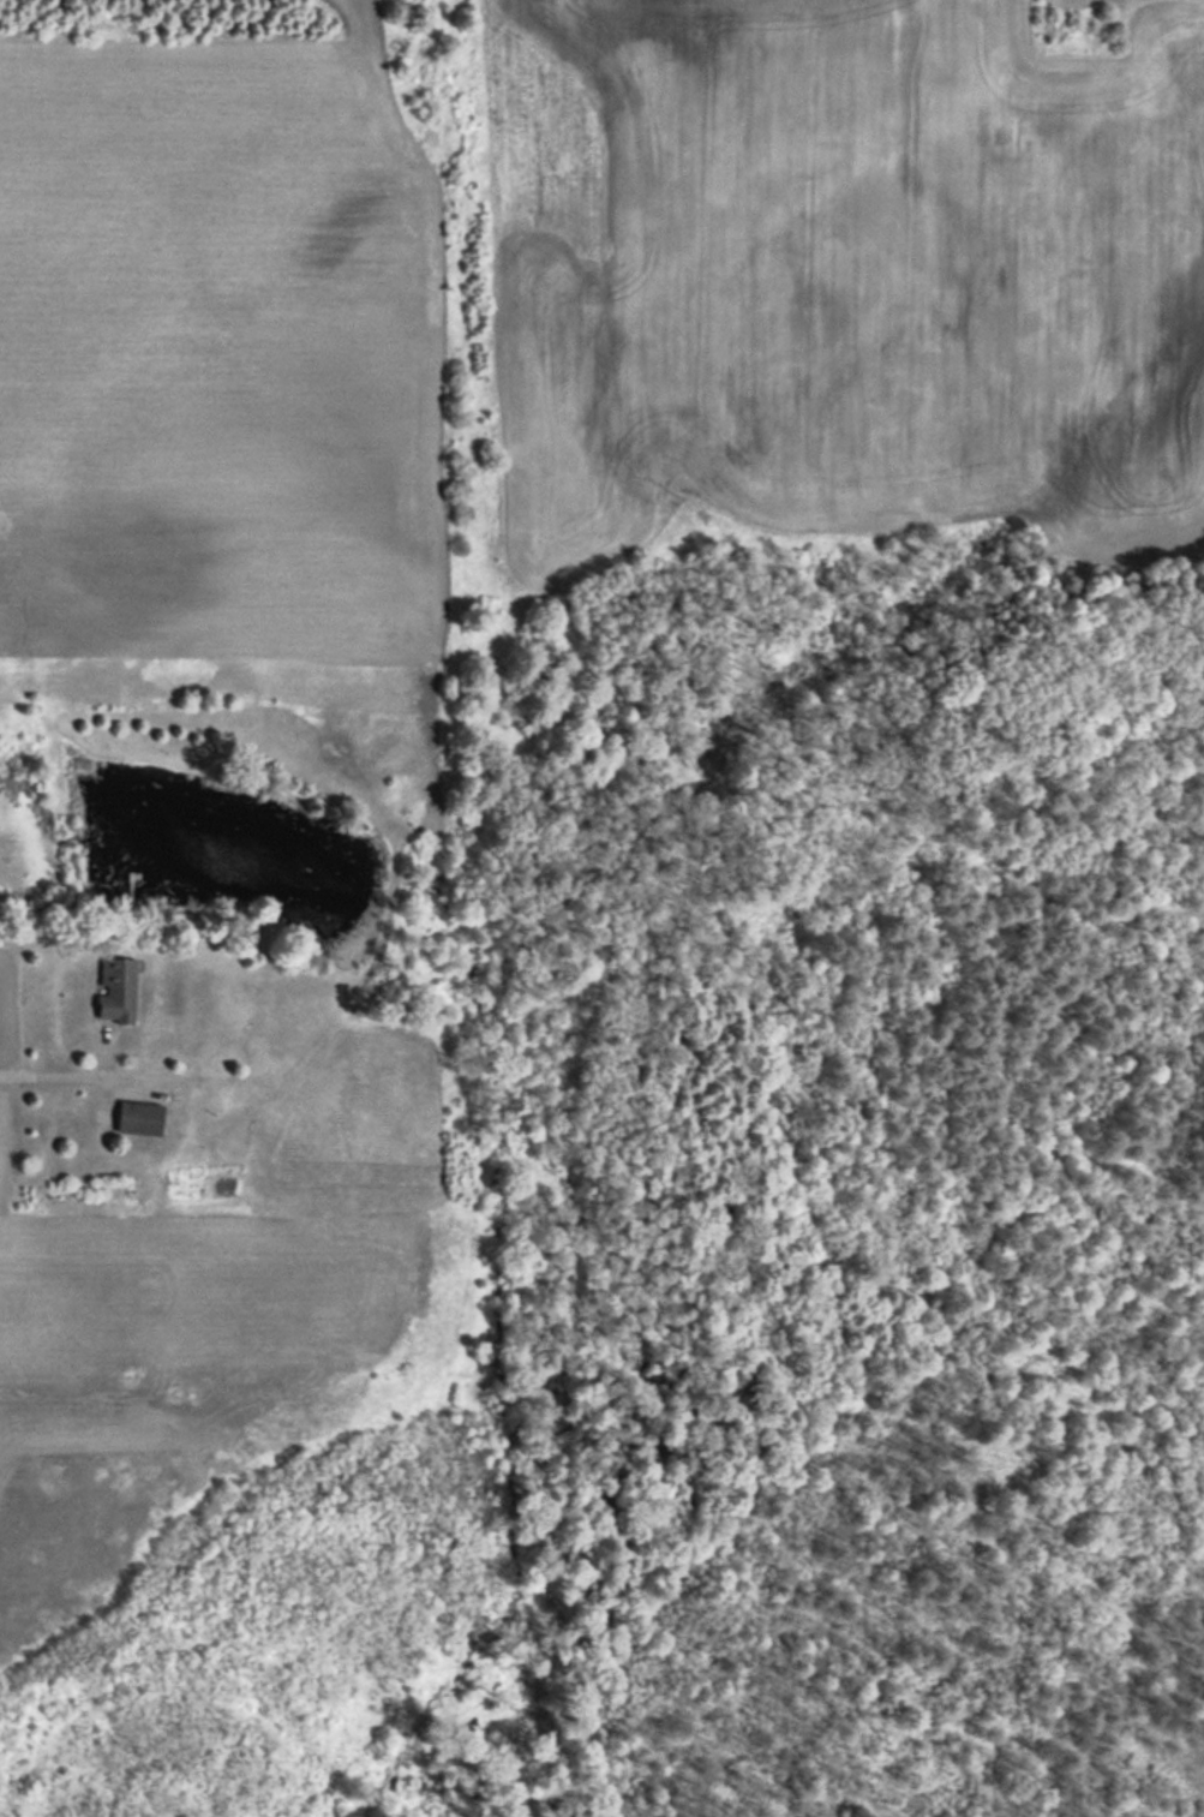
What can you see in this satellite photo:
building: (118, 988)
road: (53, 1072)
building: (142, 1117)

